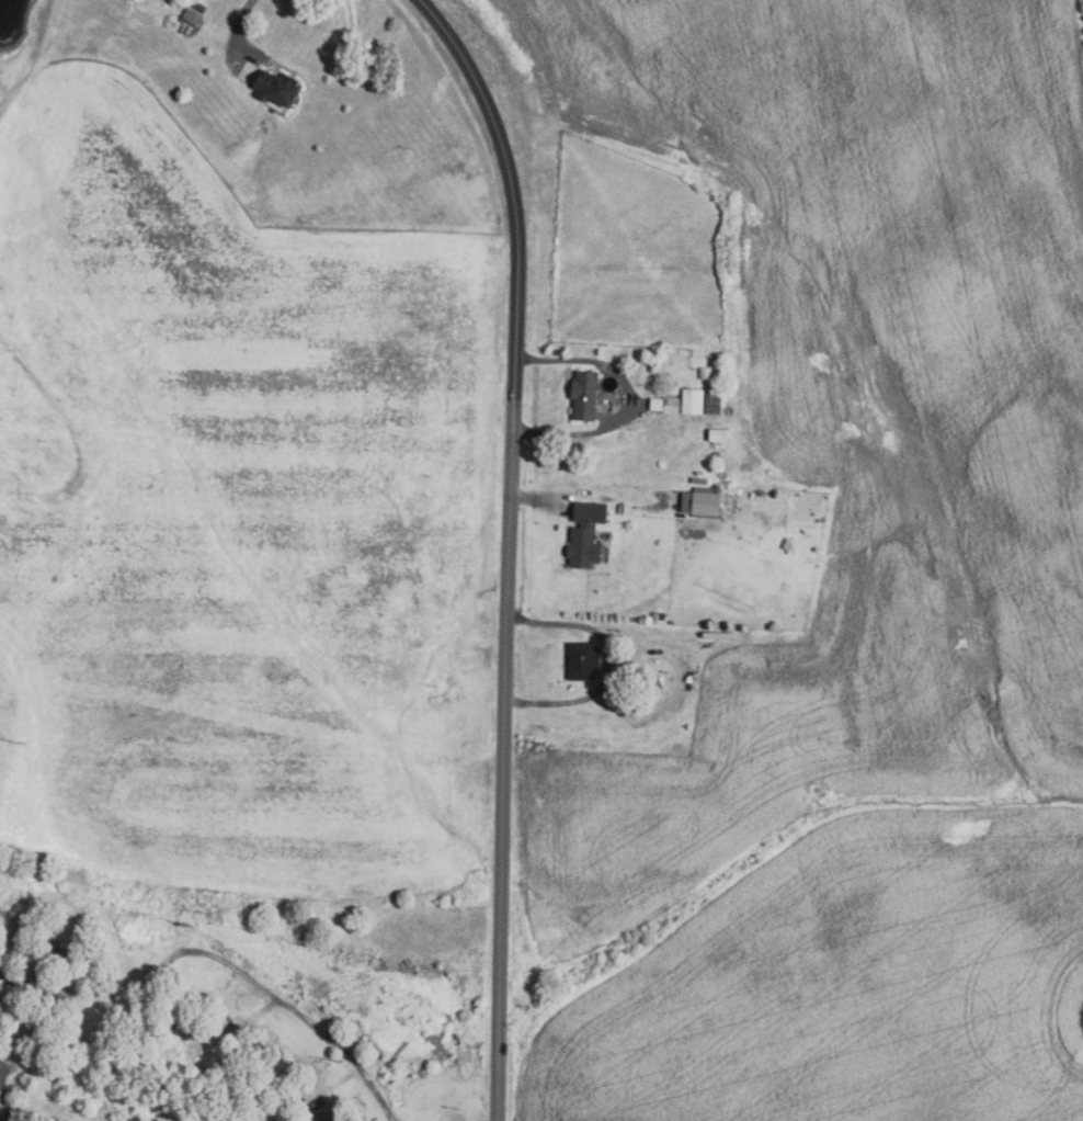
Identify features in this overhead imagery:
building: (193, 11)
road: (238, 22)
road: (32, 58)
building: (274, 87)
building: (650, 365)
building: (702, 373)
building: (671, 389)
building: (582, 395)
road: (626, 396)
building: (692, 400)
building: (713, 400)
building: (671, 405)
building: (716, 435)
building: (13, 454)
building: (733, 490)
road: (537, 499)
building: (700, 501)
building: (5, 520)
building: (584, 534)
road: (509, 547)
building: (654, 615)
building: (662, 615)
building: (581, 660)
road: (606, 664)
building: (618, 680)
building: (642, 681)
building: (650, 681)
power tower: (23, 745)
power tower: (213, 915)
building: (58, 958)
road: (8, 976)
building: (182, 989)
building: (47, 992)
road: (266, 1008)
road: (301, 1015)
building: (228, 1029)
building: (25, 1035)
power tower: (341, 1062)
road: (7, 1072)
building: (293, 1080)
road: (4, 1099)
building: (243, 1109)
road: (315, 1117)
road: (7, 1119)
road: (15, 1120)

